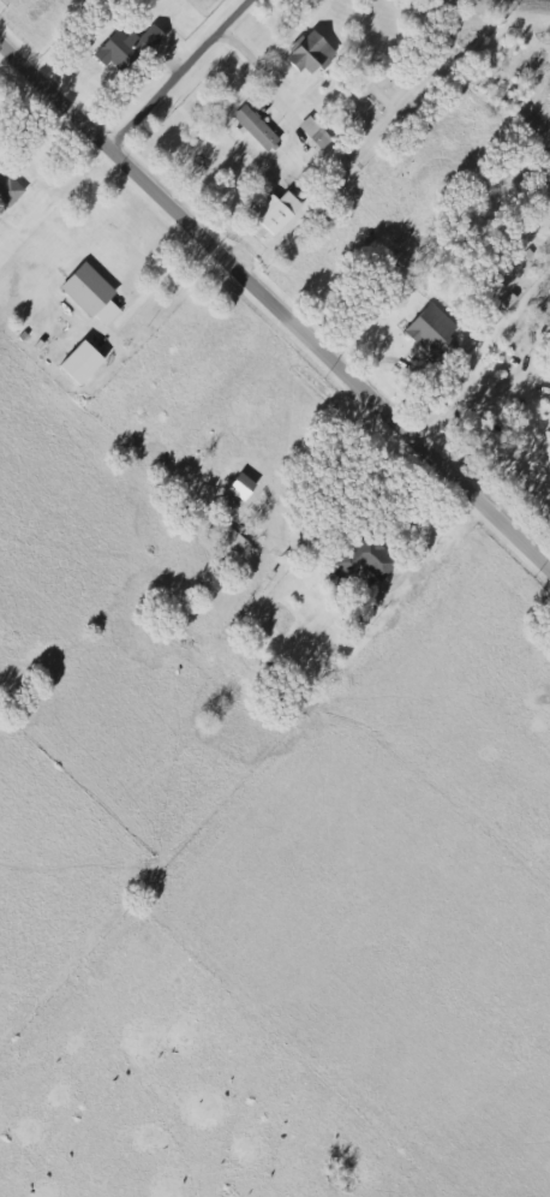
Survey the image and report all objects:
building: (127, 46)
building: (311, 53)
road: (180, 72)
building: (256, 127)
building: (315, 132)
building: (8, 190)
building: (274, 210)
road: (166, 273)
building: (91, 293)
road: (275, 299)
building: (431, 329)
building: (80, 362)
road: (479, 398)
building: (240, 488)
building: (234, 540)
building: (367, 558)

